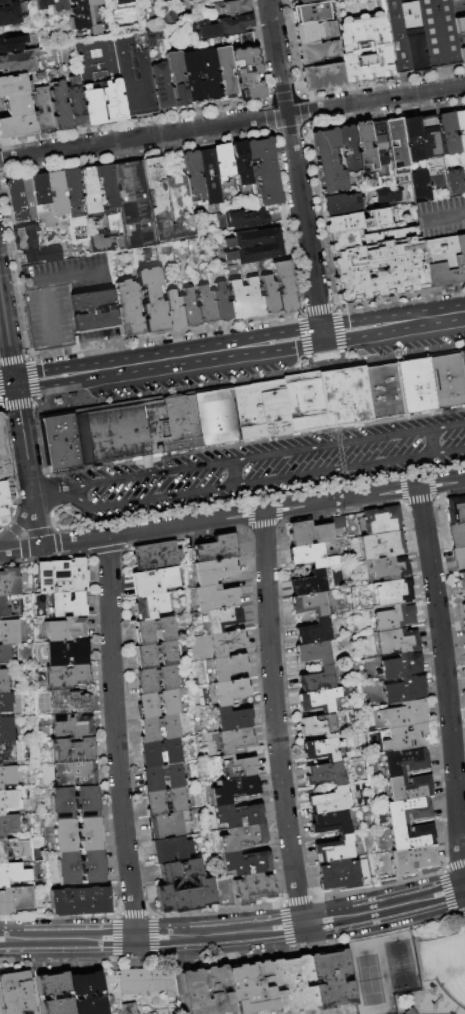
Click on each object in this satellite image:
building: (222, 1)
building: (306, 1)
building: (3, 2)
building: (42, 4)
building: (121, 4)
building: (59, 5)
building: (231, 9)
building: (310, 13)
building: (10, 15)
building: (78, 15)
building: (95, 15)
building: (170, 20)
building: (460, 27)
building: (223, 28)
building: (313, 32)
building: (439, 33)
building: (405, 36)
building: (13, 44)
building: (363, 48)
building: (315, 52)
building: (462, 56)
building: (19, 61)
building: (137, 71)
building: (225, 73)
building: (208, 75)
building: (248, 75)
building: (193, 77)
building: (321, 77)
building: (177, 79)
building: (101, 81)
building: (162, 86)
building: (76, 102)
building: (17, 107)
building: (60, 107)
building: (44, 109)
road: (232, 123)
building: (460, 130)
building: (447, 134)
building: (428, 137)
building: (411, 139)
building: (363, 144)
building: (396, 147)
building: (377, 148)
building: (347, 150)
building: (221, 161)
building: (327, 161)
building: (239, 163)
road: (294, 167)
building: (262, 172)
building: (191, 174)
building: (207, 177)
building: (455, 182)
building: (419, 187)
building: (106, 189)
building: (89, 193)
building: (387, 195)
building: (56, 196)
building: (72, 197)
building: (27, 199)
building: (40, 200)
building: (15, 201)
building: (177, 202)
building: (341, 204)
building: (127, 212)
parking lot: (127, 212)
building: (244, 218)
road: (445, 218)
building: (358, 220)
building: (24, 238)
building: (251, 239)
building: (40, 254)
building: (252, 254)
building: (444, 261)
building: (377, 264)
road: (66, 273)
road: (13, 282)
building: (284, 287)
building: (268, 295)
building: (151, 300)
building: (244, 300)
building: (219, 303)
building: (204, 305)
building: (128, 307)
building: (187, 309)
road: (48, 310)
building: (93, 311)
building: (172, 311)
parking lot: (48, 318)
road: (393, 322)
traffic signals: (321, 335)
road: (324, 352)
road: (160, 360)
building: (462, 363)
building: (447, 381)
traffic signals: (14, 384)
building: (416, 386)
road: (14, 389)
building: (384, 392)
building: (346, 397)
road: (331, 398)
building: (305, 403)
building: (273, 409)
building: (247, 413)
building: (216, 418)
building: (172, 425)
building: (112, 434)
road: (433, 441)
building: (62, 443)
building: (3, 453)
road: (259, 455)
road: (342, 461)
parking lot: (261, 468)
road: (235, 472)
road: (262, 479)
road: (32, 494)
building: (4, 500)
road: (46, 500)
road: (286, 507)
building: (455, 510)
road: (21, 519)
building: (381, 520)
road: (36, 524)
building: (313, 530)
building: (456, 534)
road: (74, 541)
building: (382, 544)
building: (215, 548)
road: (19, 549)
building: (312, 555)
building: (156, 556)
building: (458, 557)
building: (389, 567)
building: (213, 572)
building: (61, 577)
building: (153, 581)
building: (9, 582)
building: (309, 583)
building: (461, 583)
building: (393, 591)
building: (214, 598)
building: (68, 604)
building: (309, 604)
building: (463, 605)
building: (150, 606)
building: (3, 608)
building: (393, 617)
building: (221, 619)
building: (464, 622)
building: (63, 630)
building: (464, 630)
building: (154, 631)
building: (314, 631)
building: (9, 632)
building: (397, 640)
building: (225, 643)
building: (67, 653)
building: (313, 653)
building: (4, 655)
building: (154, 656)
building: (400, 666)
building: (226, 667)
building: (65, 677)
building: (317, 679)
building: (157, 680)
building: (3, 682)
road: (446, 687)
building: (404, 689)
building: (229, 691)
building: (319, 700)
building: (5, 703)
building: (67, 703)
building: (157, 704)
building: (404, 714)
road: (274, 718)
building: (231, 719)
building: (319, 725)
building: (70, 726)
building: (158, 729)
building: (6, 730)
road: (114, 737)
building: (405, 738)
building: (232, 740)
building: (323, 748)
building: (6, 751)
building: (70, 751)
building: (160, 753)
building: (404, 761)
building: (0, 765)
building: (235, 768)
building: (325, 773)
building: (72, 775)
building: (7, 776)
building: (162, 778)
building: (408, 787)
building: (232, 790)
building: (10, 801)
building: (329, 801)
building: (165, 802)
building: (72, 803)
building: (407, 810)
building: (236, 815)
building: (331, 822)
building: (8, 825)
building: (167, 826)
building: (76, 835)
building: (411, 836)
building: (241, 837)
building: (335, 848)
building: (9, 849)
building: (170, 850)
building: (412, 859)
building: (244, 863)
building: (78, 868)
building: (13, 874)
building: (339, 874)
building: (202, 886)
building: (251, 889)
building: (15, 900)
building: (78, 902)
road: (234, 933)
park: (400, 965)
park: (445, 965)
park: (410, 970)
building: (147, 980)
building: (330, 980)
park: (369, 980)
building: (291, 984)
building: (249, 987)
building: (205, 991)
building: (53, 993)
building: (86, 993)
building: (15, 994)
building: (127, 1008)
building: (409, 1011)

